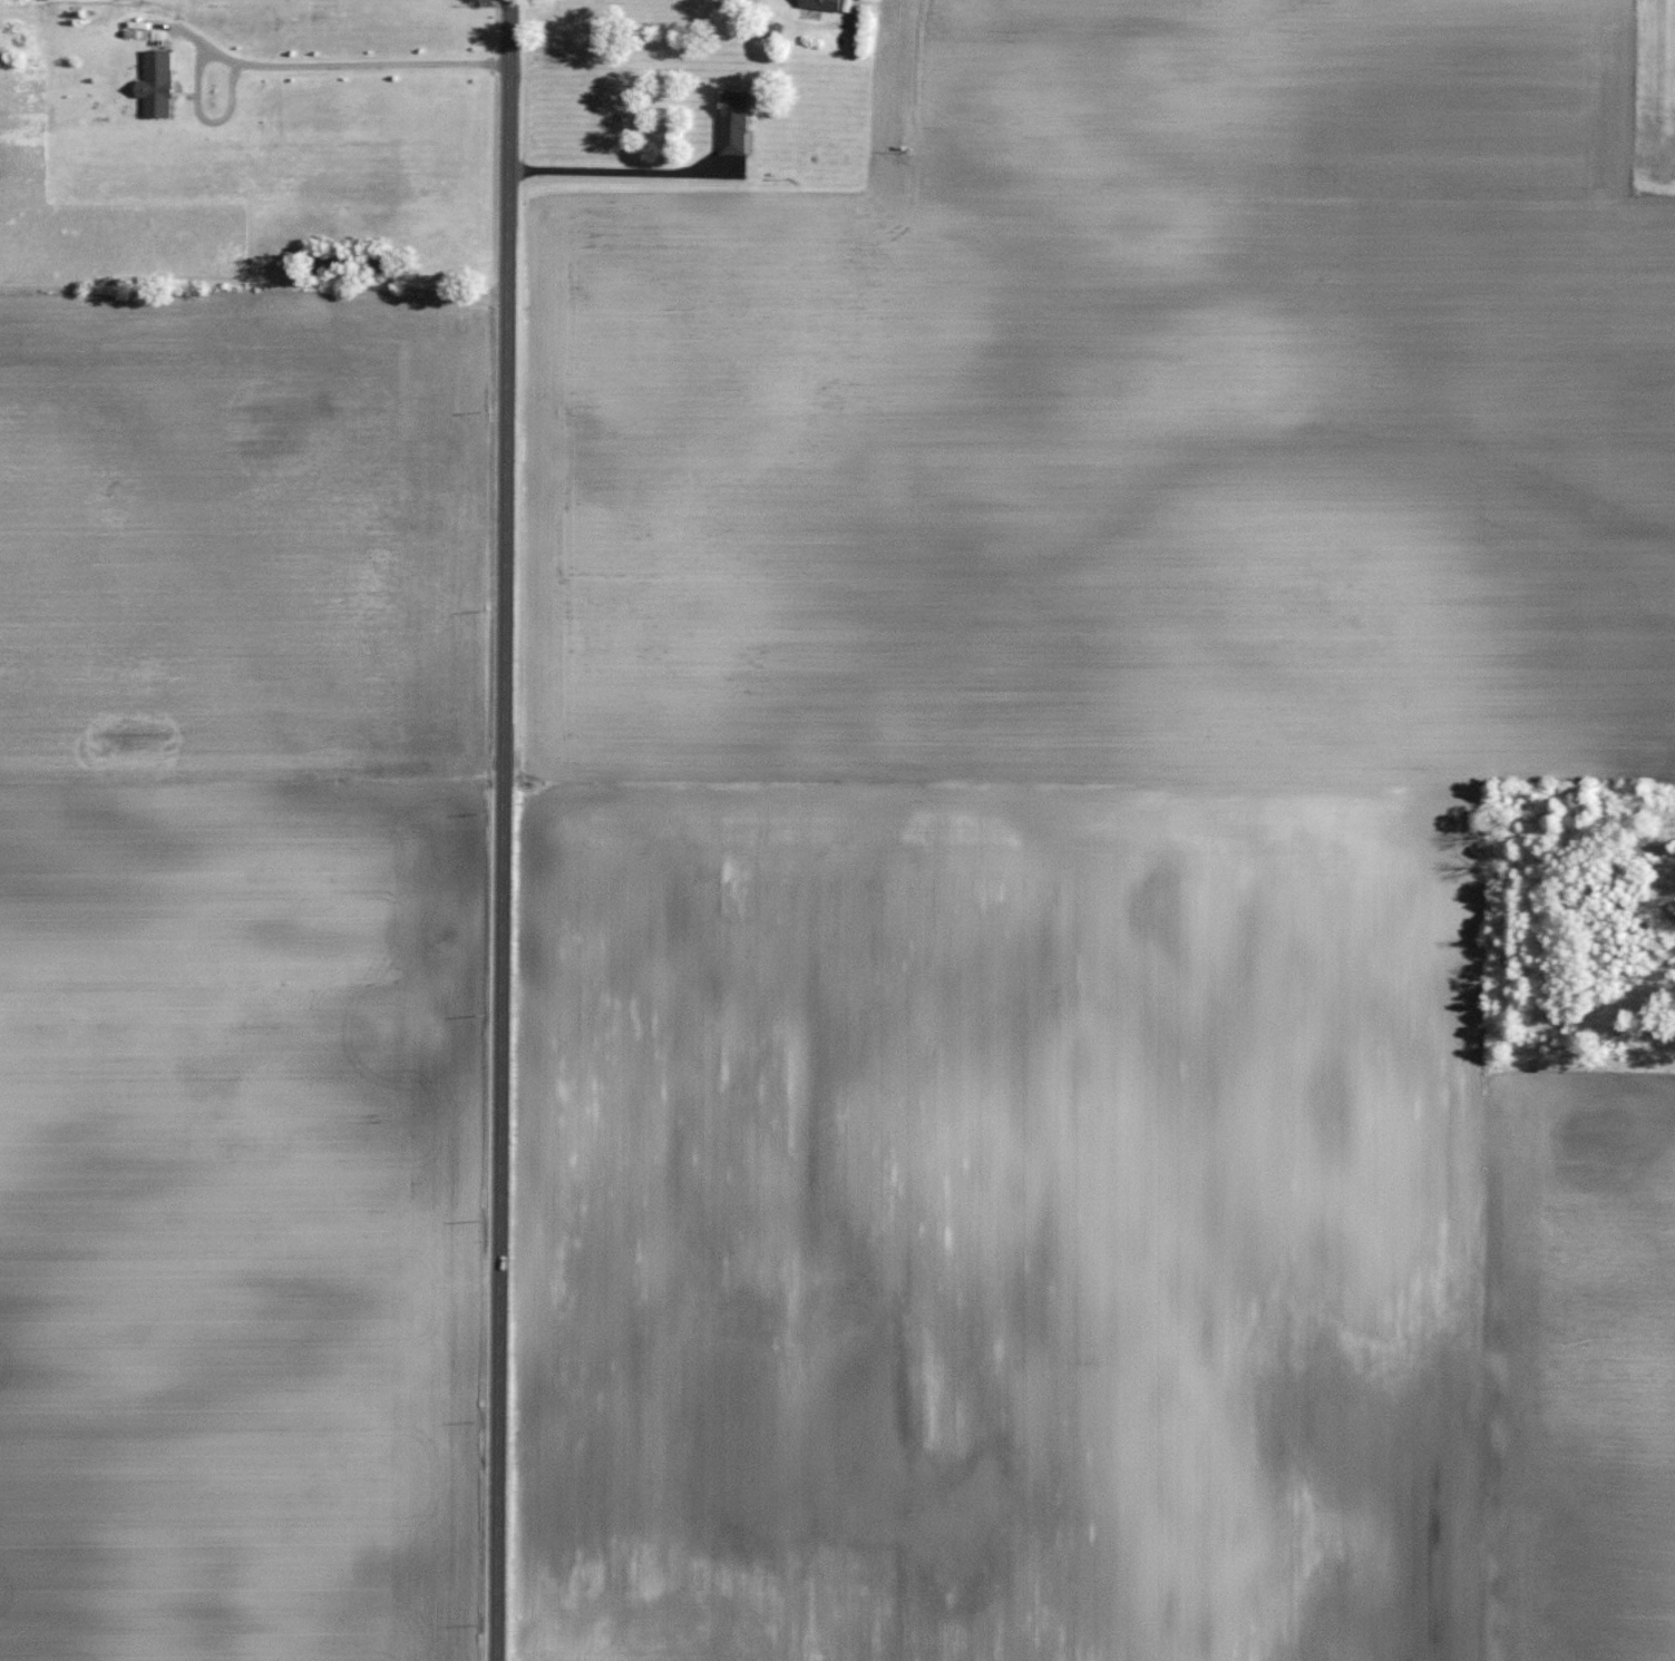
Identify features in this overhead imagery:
building: (826, 4)
road: (337, 67)
building: (160, 84)
building: (737, 124)
road: (620, 175)
road: (839, 423)
road: (503, 830)

